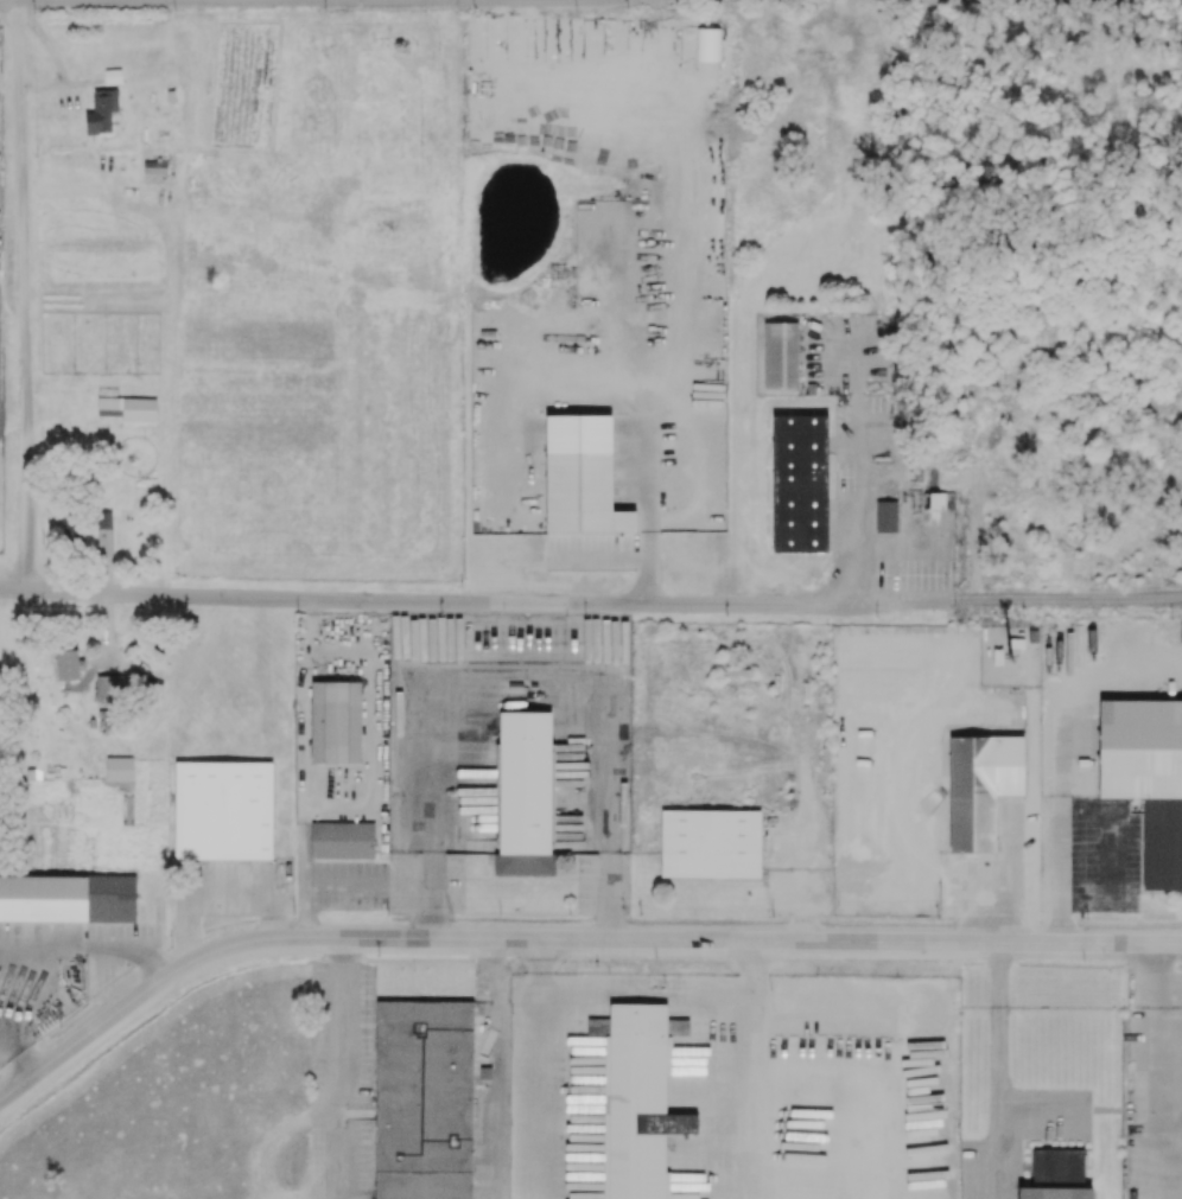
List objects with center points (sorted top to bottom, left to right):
road: (21, 295)
road: (854, 376)
road: (856, 505)
road: (652, 534)
road: (1005, 599)
road: (414, 601)
road: (523, 682)
building: (336, 722)
road: (1061, 757)
building: (1146, 778)
building: (981, 787)
building: (525, 795)
building: (224, 811)
building: (342, 841)
building: (711, 844)
parking lot: (1104, 855)
road: (1111, 856)
road: (344, 884)
parking lot: (426, 884)
road: (304, 885)
parking lot: (604, 885)
parking lot: (351, 886)
road: (216, 888)
parking lot: (235, 889)
road: (434, 895)
road: (614, 897)
building: (68, 900)
road: (566, 939)
road: (344, 952)
road: (540, 957)
road: (756, 958)
road: (47, 961)
road: (998, 975)
road: (1158, 975)
parking lot: (1157, 989)
road: (648, 993)
road: (813, 1002)
parking lot: (826, 1007)
road: (497, 1069)
parking lot: (342, 1079)
road: (343, 1083)
road: (755, 1083)
road: (539, 1086)
building: (424, 1101)
building: (640, 1103)
road: (997, 1103)
road: (1159, 1103)
building: (1055, 1193)

